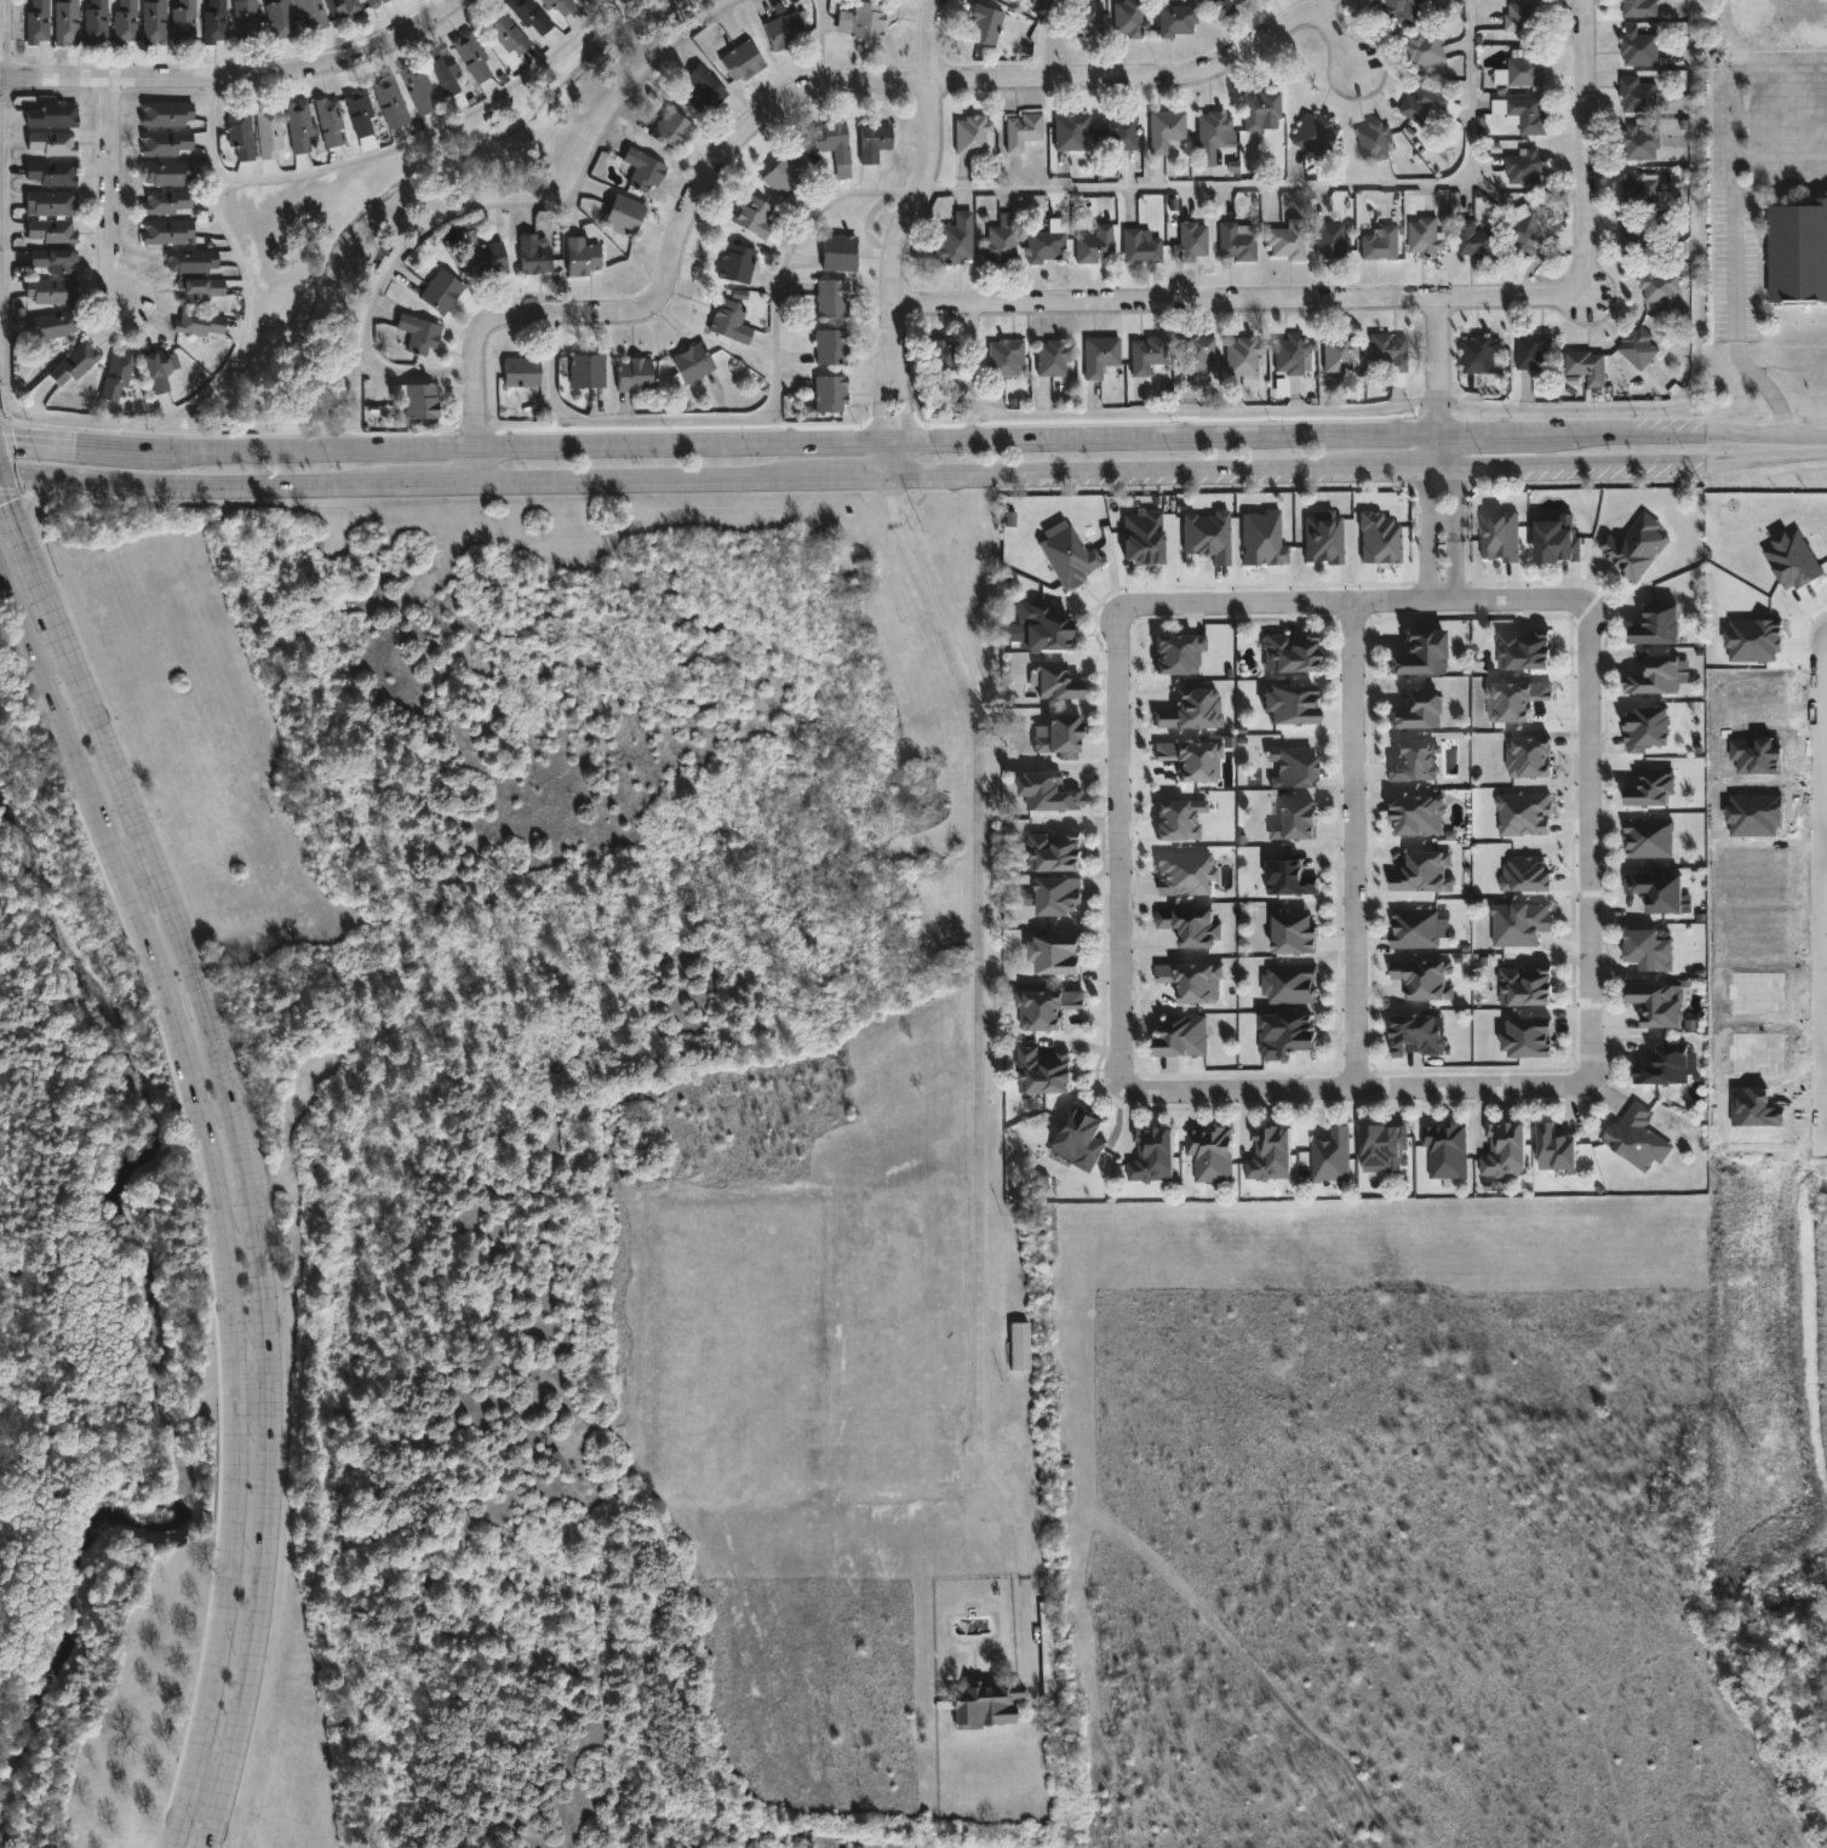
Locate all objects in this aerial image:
building: (582, 0)
building: (1018, 0)
building: (372, 2)
building: (1224, 5)
building: (345, 7)
building: (557, 7)
building: (1638, 8)
building: (1408, 10)
building: (308, 15)
building: (528, 17)
building: (1128, 17)
building: (277, 18)
building: (1088, 19)
building: (1523, 19)
building: (213, 21)
building: (245, 21)
building: (861, 21)
building: (1178, 21)
building: (36, 22)
building: (64, 22)
building: (93, 22)
building: (124, 22)
building: (151, 22)
building: (182, 22)
building: (984, 24)
building: (784, 32)
building: (505, 33)
road: (6, 39)
road: (1038, 40)
road: (1339, 42)
road: (820, 45)
building: (1639, 46)
building: (1426, 48)
building: (471, 57)
building: (741, 62)
building: (1524, 67)
road: (1736, 74)
building: (448, 81)
road: (240, 84)
building: (419, 88)
building: (703, 92)
building: (1638, 93)
building: (389, 101)
building: (1427, 103)
road: (787, 104)
building: (1259, 108)
building: (359, 111)
building: (1523, 113)
building: (165, 114)
building: (50, 115)
building: (328, 121)
building: (298, 127)
building: (1165, 128)
building: (1021, 130)
building: (1214, 130)
building: (268, 131)
building: (670, 131)
building: (1070, 131)
building: (239, 132)
road: (433, 132)
road: (1586, 132)
building: (1118, 133)
building: (1315, 133)
building: (970, 135)
building: (1374, 139)
building: (831, 141)
building: (874, 142)
building: (1640, 142)
building: (51, 143)
building: (166, 143)
road: (1780, 162)
building: (1524, 167)
building: (642, 171)
building: (50, 172)
building: (167, 173)
building: (785, 176)
road: (928, 181)
road: (1287, 188)
building: (1640, 189)
building: (50, 202)
road: (113, 202)
building: (166, 202)
road: (502, 204)
building: (624, 214)
building: (757, 219)
park: (406, 223)
building: (1527, 230)
building: (51, 231)
building: (167, 231)
building: (1425, 234)
building: (1639, 234)
building: (1000, 239)
building: (1328, 239)
building: (1474, 239)
building: (955, 240)
building: (1285, 240)
building: (1192, 241)
building: (1380, 242)
building: (1235, 244)
building: (1095, 245)
building: (1140, 245)
building: (1044, 246)
building: (1799, 251)
building: (840, 252)
building: (534, 253)
building: (582, 256)
building: (487, 258)
building: (53, 262)
building: (191, 262)
building: (735, 263)
building: (1660, 285)
building: (199, 290)
building: (441, 290)
building: (52, 291)
building: (831, 298)
road: (1250, 305)
road: (1734, 309)
building: (199, 322)
building: (729, 322)
building: (52, 325)
road: (1697, 325)
building: (418, 334)
building: (830, 345)
building: (1638, 345)
building: (1388, 350)
building: (1534, 350)
building: (1479, 353)
building: (1146, 354)
building: (1291, 354)
building: (1339, 354)
building: (1099, 355)
building: (1196, 355)
building: (943, 357)
building: (1006, 357)
building: (1052, 357)
building: (1243, 357)
building: (73, 362)
building: (691, 362)
building: (1587, 365)
building: (156, 368)
building: (586, 370)
road: (1441, 370)
building: (521, 371)
building: (634, 374)
building: (115, 377)
building: (829, 394)
road: (877, 399)
building: (420, 401)
road: (905, 402)
road: (773, 406)
road: (109, 423)
road: (1701, 431)
road: (1554, 433)
road: (1474, 434)
road: (797, 442)
road: (1815, 444)
road: (78, 445)
road: (889, 459)
traffic signals: (0, 473)
road: (903, 475)
road: (30, 510)
road: (1424, 520)
road: (1453, 520)
building: (1261, 536)
building: (1322, 536)
building: (1207, 537)
building: (1500, 537)
building: (1556, 537)
building: (1142, 539)
building: (1379, 539)
building: (1634, 543)
building: (1069, 556)
building: (1792, 560)
road: (1354, 605)
building: (1656, 622)
building: (1042, 625)
building: (1753, 640)
building: (1524, 647)
building: (1289, 651)
building: (1419, 652)
building: (1178, 654)
building: (1660, 676)
building: (1054, 681)
building: (1514, 700)
building: (1290, 703)
building: (1192, 711)
building: (1416, 711)
building: (1648, 726)
building: (1058, 737)
building: (1528, 757)
building: (1192, 760)
building: (1414, 762)
building: (1293, 767)
building: (1651, 786)
building: (1047, 790)
building: (1524, 813)
building: (1417, 816)
building: (1179, 820)
building: (1296, 822)
building: (1649, 836)
road: (1123, 845)
road: (1352, 845)
road: (1592, 845)
road: (1823, 846)
building: (1055, 848)
road: (1820, 853)
building: (1425, 872)
building: (1185, 874)
building: (1527, 874)
building: (1289, 879)
building: (1659, 888)
road: (147, 889)
building: (1059, 896)
building: (1519, 920)
building: (1191, 927)
building: (1417, 928)
building: (1294, 934)
building: (1650, 945)
building: (1059, 951)
building: (1425, 979)
building: (1193, 982)
building: (1527, 983)
building: (1289, 984)
building: (1657, 1001)
building: (1047, 1008)
building: (1184, 1032)
building: (1287, 1032)
building: (1416, 1034)
building: (1530, 1035)
building: (1661, 1062)
building: (1043, 1068)
road: (1359, 1086)
road: (976, 1089)
building: (1079, 1134)
building: (1636, 1135)
road: (242, 1142)
building: (1384, 1145)
building: (1557, 1145)
building: (1444, 1148)
building: (1506, 1149)
building: (1209, 1151)
building: (1270, 1151)
building: (1153, 1152)
building: (1330, 1154)
road: (218, 1200)
park: (92, 1340)
building: (1019, 1348)
road: (254, 1406)
building: (1047, 1653)
building: (987, 1705)
road: (200, 1818)

